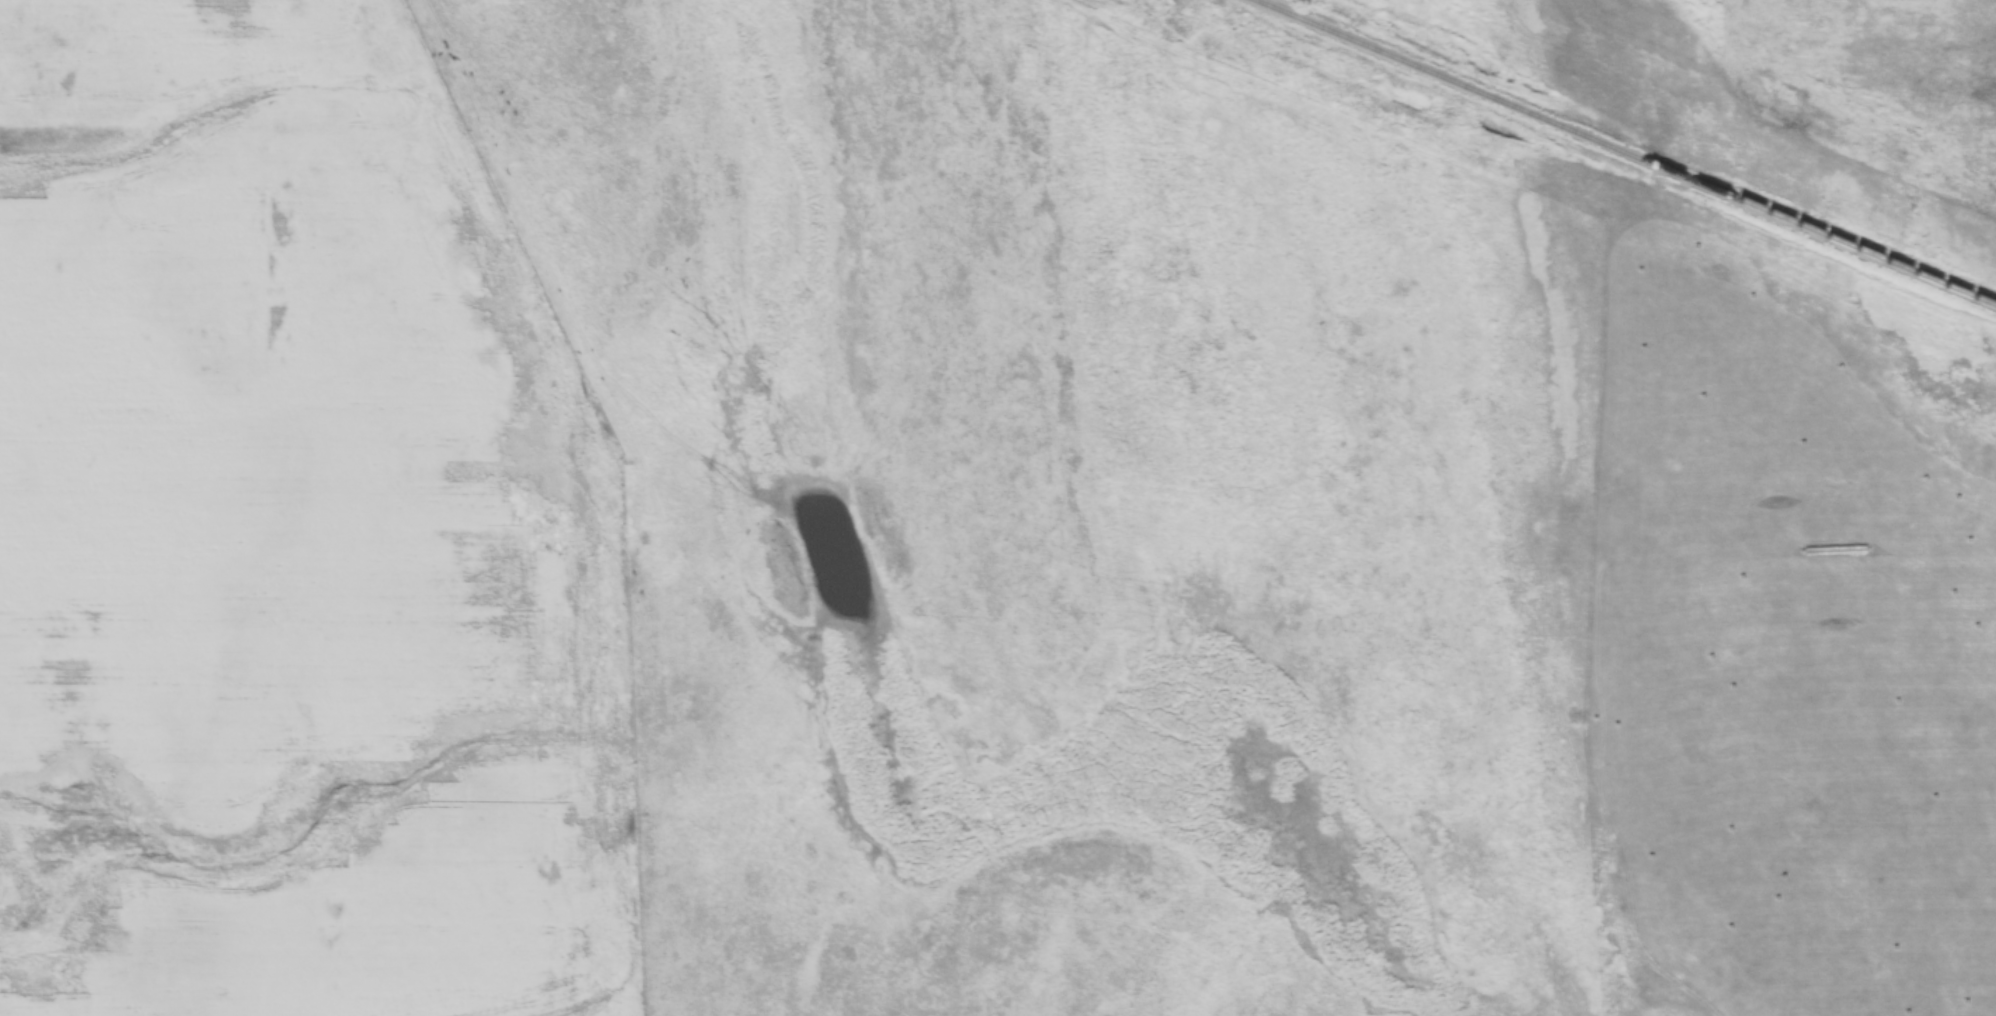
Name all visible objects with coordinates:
railway: (1626, 152)

